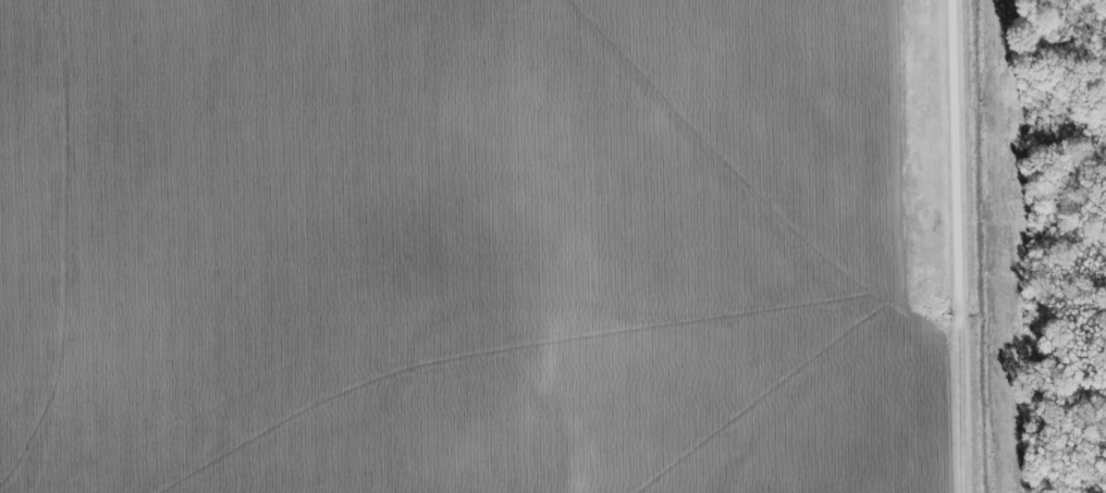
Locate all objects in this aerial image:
road: (964, 246)

